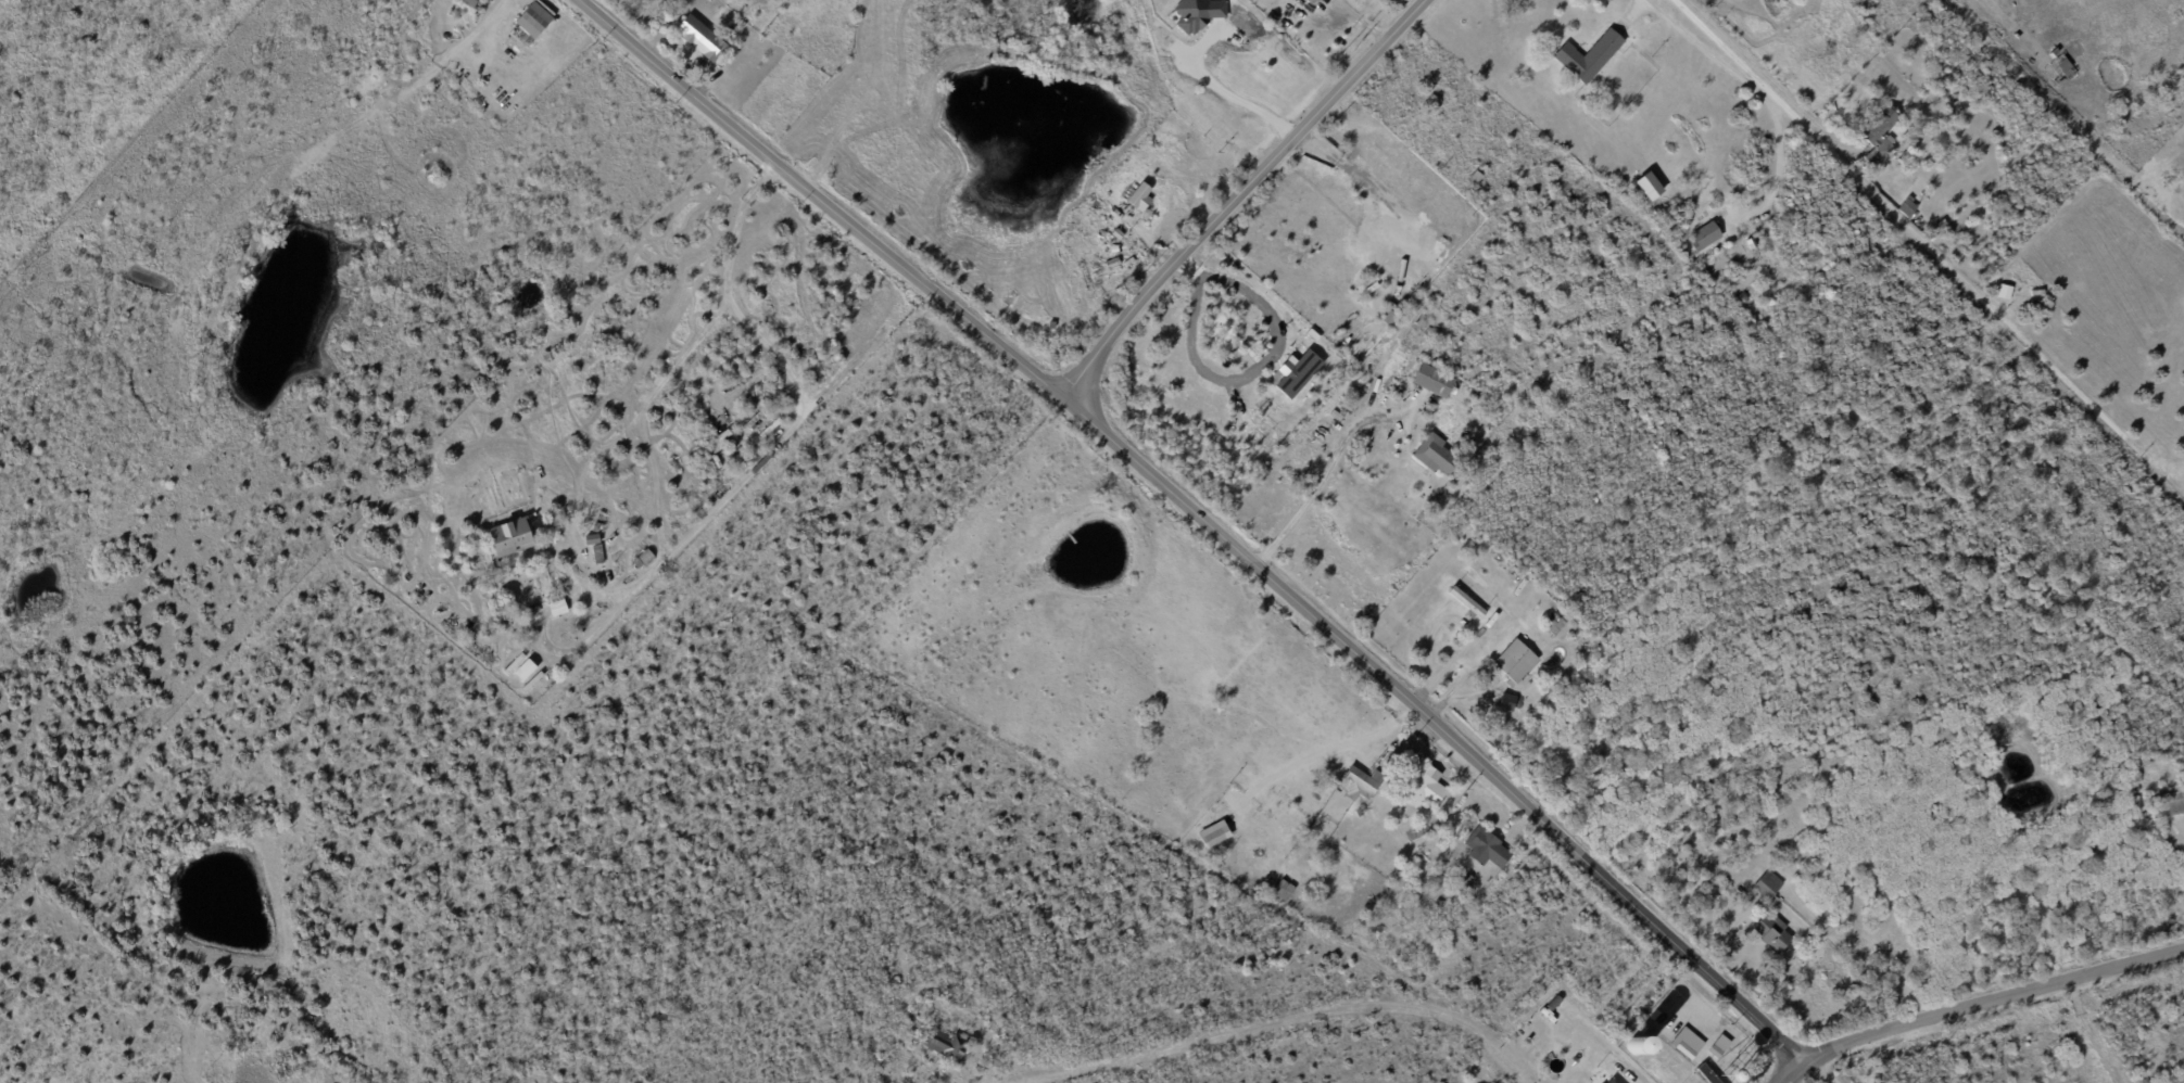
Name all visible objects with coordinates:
building: (468, 3)
building: (1198, 13)
building: (533, 22)
road: (2011, 22)
building: (731, 33)
building: (700, 38)
building: (2055, 54)
building: (1590, 55)
building: (2061, 71)
road: (1765, 77)
road: (1760, 92)
road: (1234, 98)
building: (1455, 132)
building: (1877, 135)
road: (1316, 146)
building: (1905, 155)
building: (1225, 171)
building: (1474, 174)
building: (1650, 184)
road: (1375, 191)
building: (1473, 191)
road: (1237, 194)
building: (1140, 198)
building: (1908, 206)
building: (1943, 222)
building: (1706, 235)
road: (1918, 241)
building: (1585, 278)
building: (2037, 292)
building: (1744, 296)
building: (1297, 373)
building: (1432, 381)
building: (1475, 394)
road: (795, 418)
building: (1343, 420)
building: (770, 426)
building: (1436, 455)
road: (1321, 474)
road: (1201, 518)
building: (598, 521)
building: (509, 537)
building: (593, 539)
building: (598, 553)
building: (645, 557)
building: (1468, 604)
building: (556, 608)
building: (538, 609)
building: (527, 611)
building: (443, 624)
building: (1557, 624)
building: (533, 634)
building: (1516, 662)
building: (2183, 753)
building: (1745, 765)
building: (1355, 785)
building: (1706, 786)
building: (2137, 788)
building: (1426, 789)
building: (2172, 803)
building: (2137, 804)
building: (1275, 805)
building: (1418, 832)
building: (1212, 837)
building: (1488, 849)
building: (1467, 880)
building: (1768, 884)
building: (1283, 889)
building: (1441, 905)
building: (1778, 906)
building: (1772, 933)
building: (1857, 976)
road: (1991, 999)
building: (1555, 1004)
road: (1291, 1018)
building: (1624, 1030)
building: (873, 1044)
building: (945, 1045)
building: (1686, 1052)
building: (1716, 1053)
building: (995, 1060)
road: (1792, 1072)
road: (1818, 1072)
building: (1705, 1074)
building: (1614, 1081)
road: (1639, 1082)

